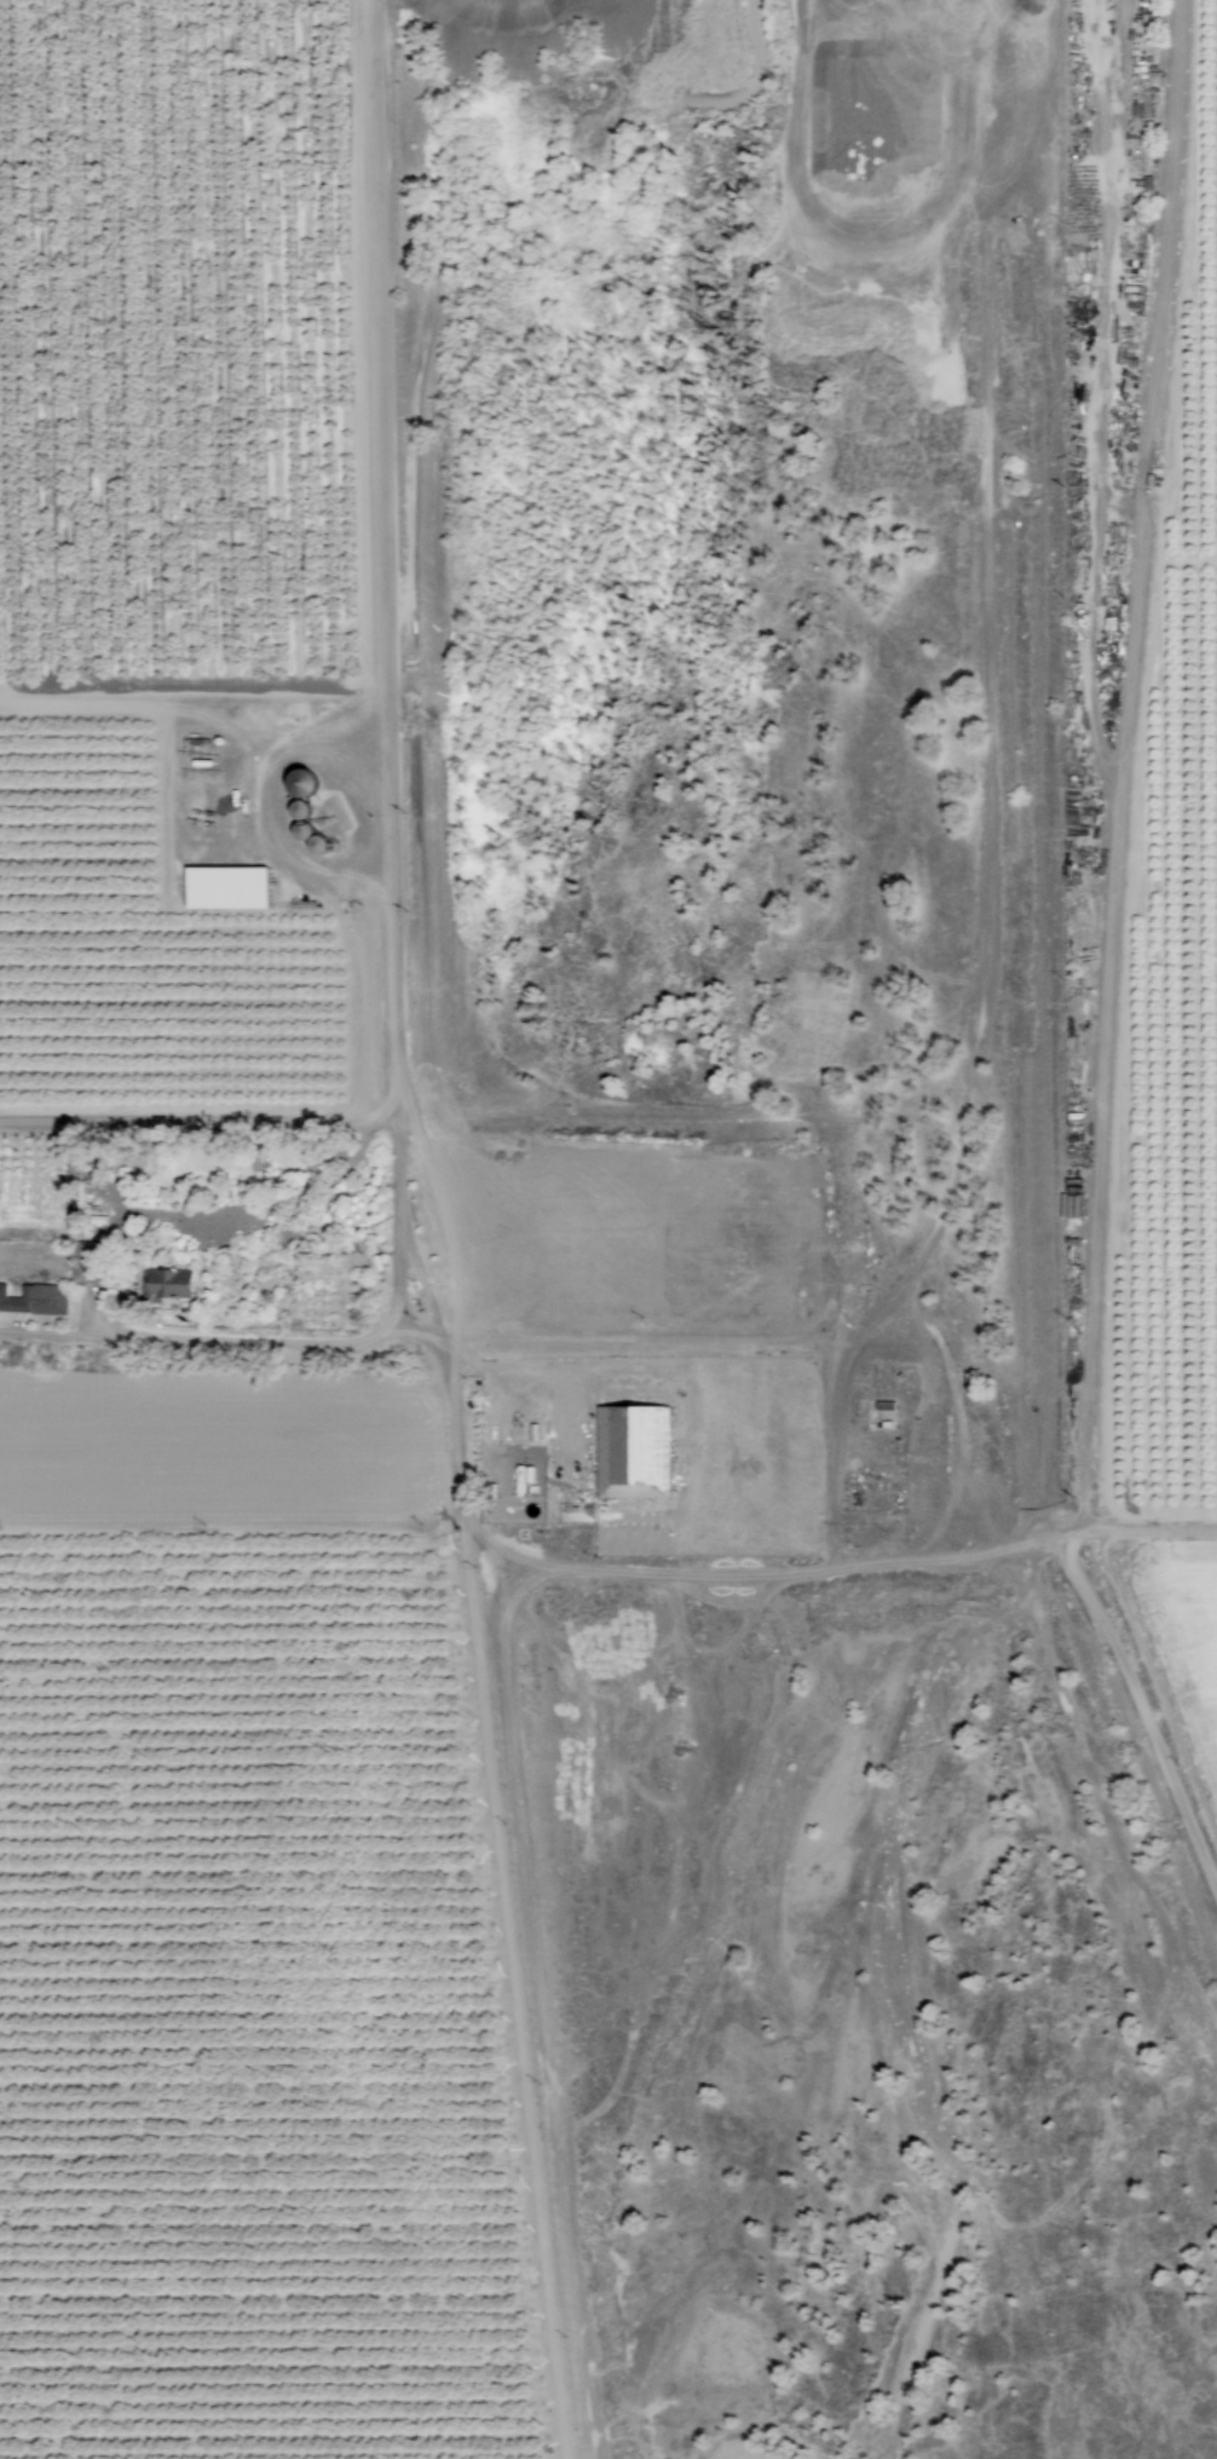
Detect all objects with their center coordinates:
quarry: (848, 182)
road: (390, 560)
building: (227, 887)
road: (201, 1122)
building: (168, 1284)
building: (36, 1300)
road: (301, 1346)
building: (633, 1453)
road: (631, 1571)

